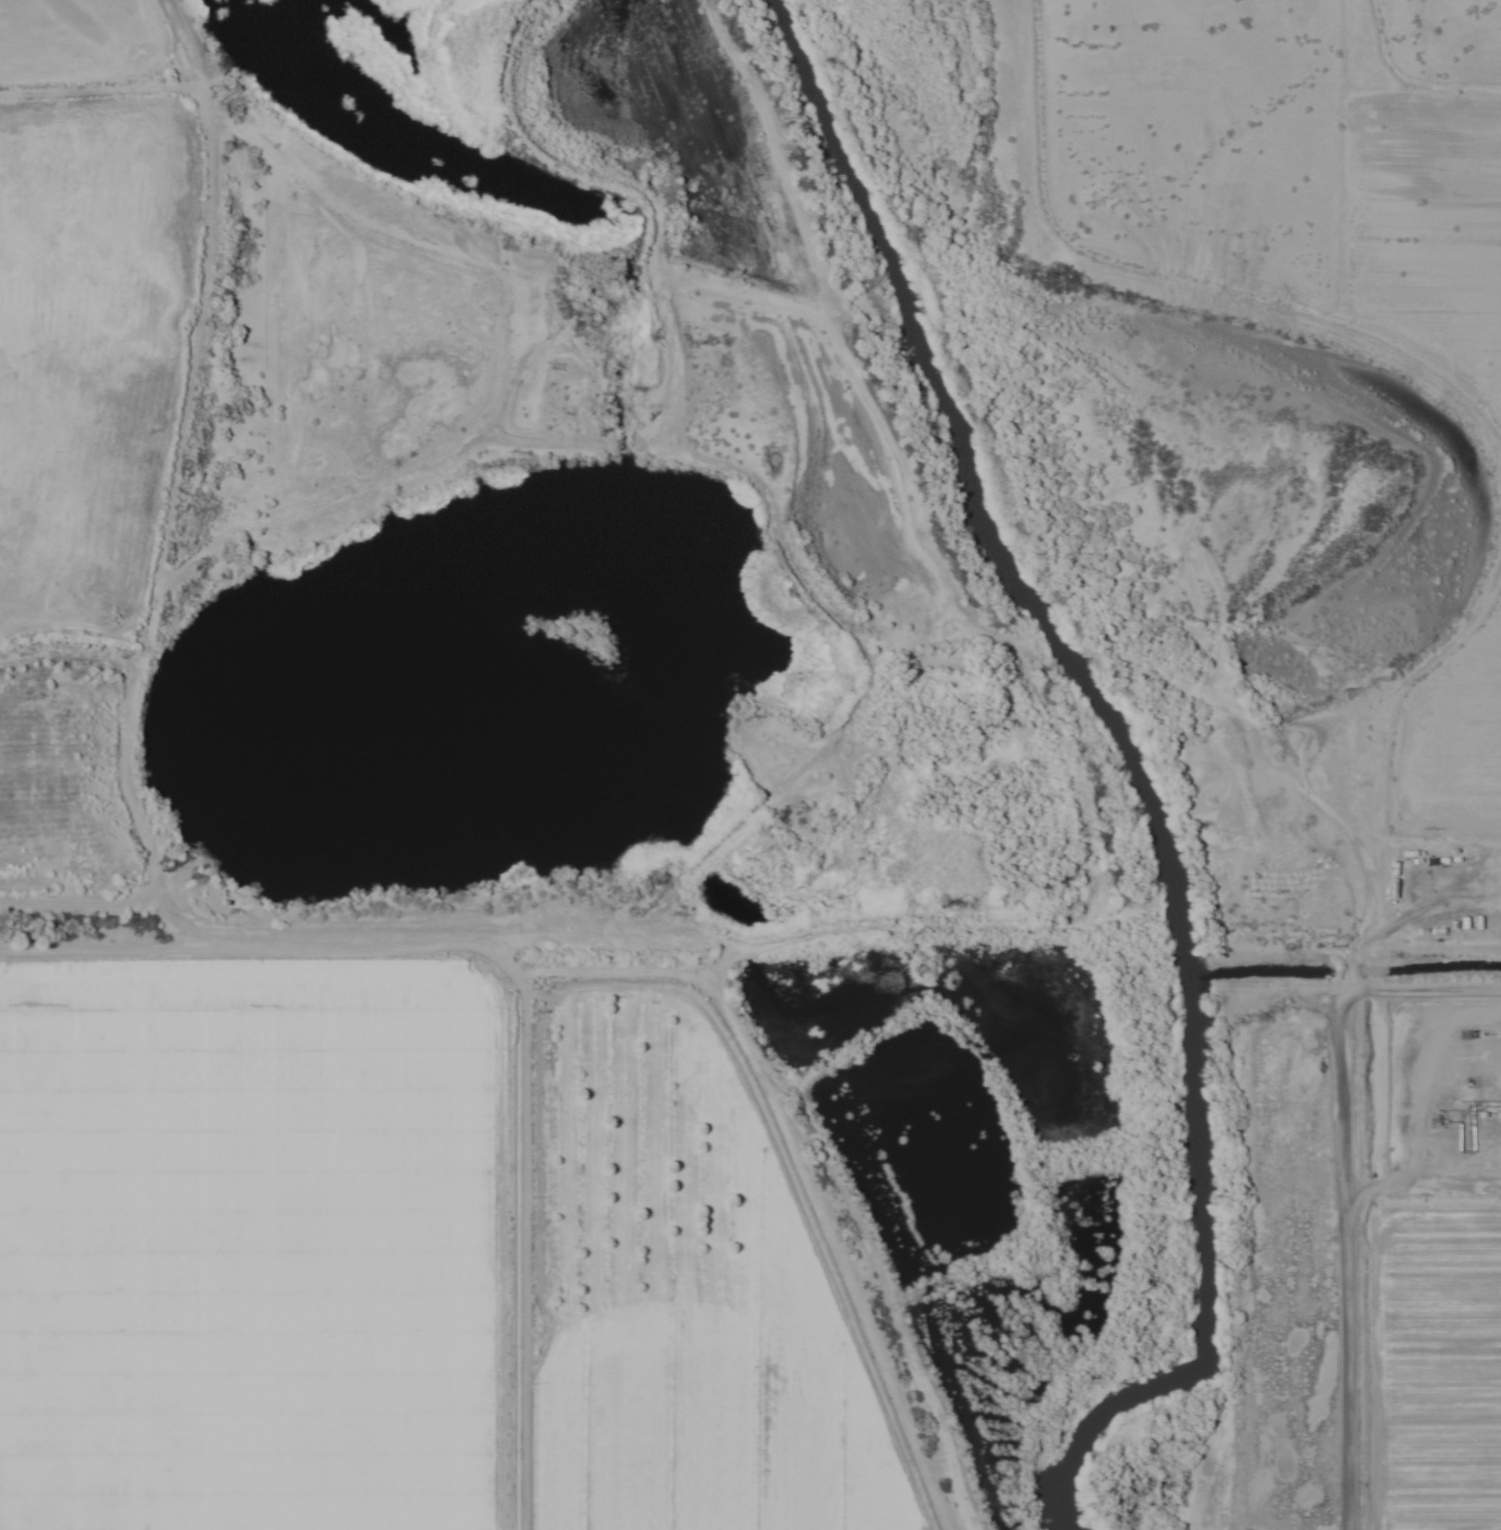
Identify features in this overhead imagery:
road: (1159, 288)
parking lot: (178, 573)
road: (1357, 760)
river: (1140, 763)
road: (67, 948)
road: (1423, 989)
road: (1347, 1259)

